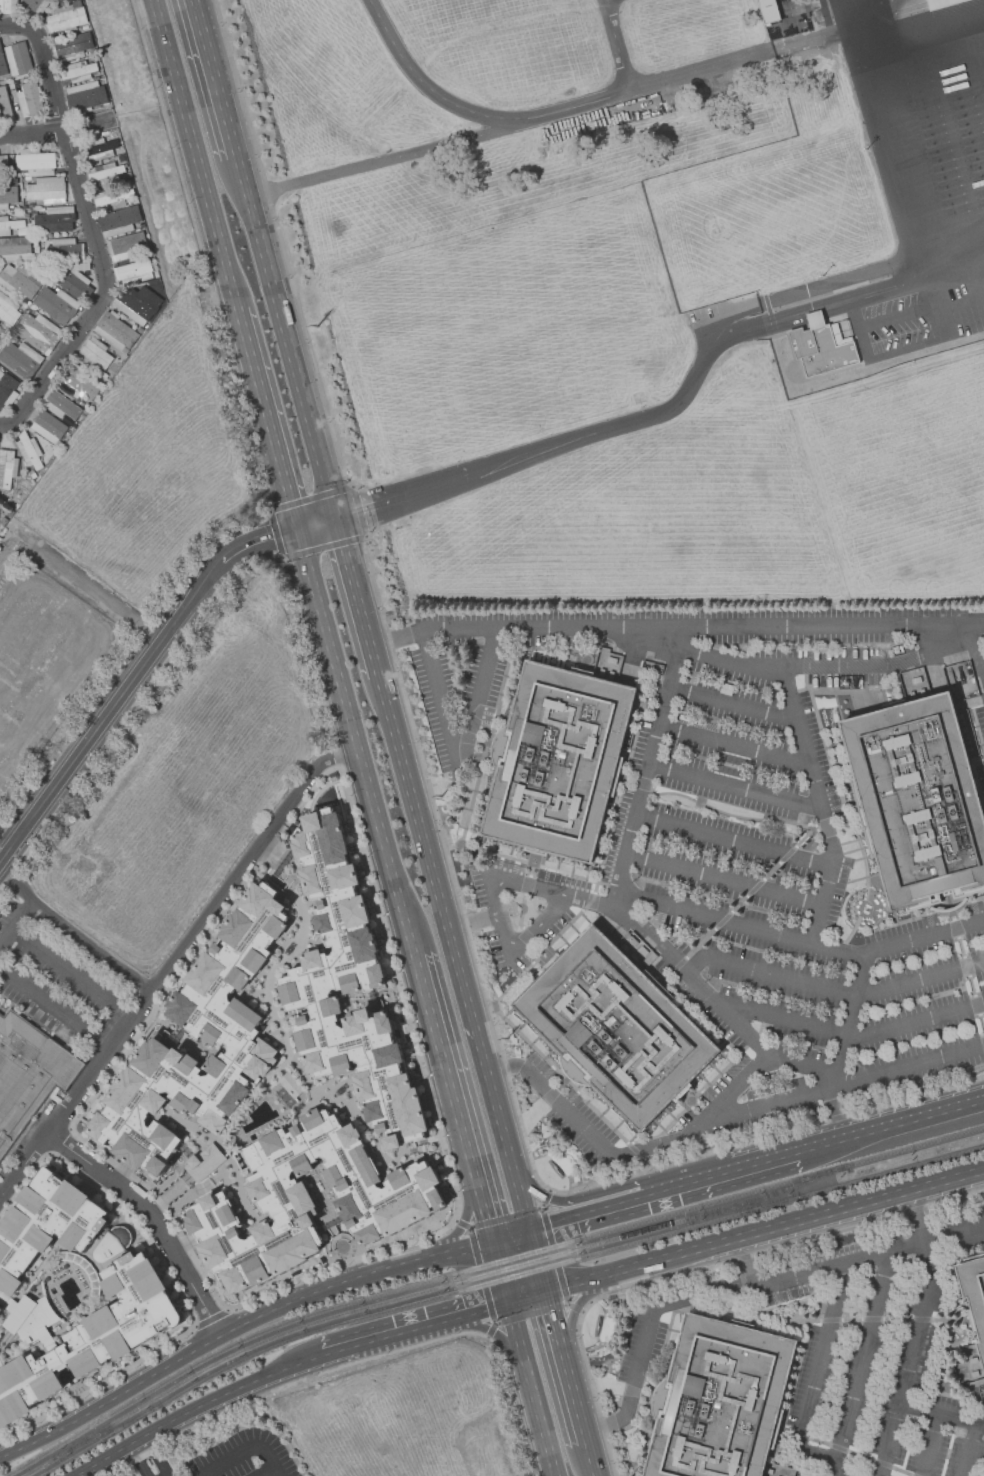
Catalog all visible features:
building: (943, 3)
building: (9, 5)
building: (36, 5)
building: (769, 10)
building: (66, 19)
road: (810, 40)
road: (617, 45)
building: (72, 46)
road: (922, 48)
building: (19, 58)
building: (3, 63)
road: (42, 63)
road: (975, 63)
road: (701, 70)
building: (79, 71)
road: (213, 78)
building: (86, 95)
building: (30, 99)
building: (5, 104)
road: (476, 113)
road: (875, 118)
road: (30, 130)
building: (101, 149)
road: (191, 153)
building: (3, 161)
building: (36, 162)
road: (376, 162)
building: (106, 173)
building: (47, 190)
building: (8, 193)
building: (112, 199)
building: (54, 219)
building: (119, 221)
building: (9, 225)
road: (947, 225)
building: (127, 246)
building: (16, 248)
building: (65, 249)
road: (916, 255)
building: (133, 272)
building: (75, 281)
building: (18, 282)
road: (103, 292)
road: (841, 297)
building: (57, 304)
building: (138, 304)
building: (8, 311)
building: (30, 311)
power tower: (320, 328)
building: (116, 331)
building: (39, 332)
road: (283, 337)
building: (820, 347)
building: (94, 354)
building: (21, 359)
building: (78, 383)
building: (7, 388)
building: (60, 404)
road: (265, 418)
building: (47, 426)
road: (564, 442)
building: (29, 450)
road: (257, 458)
building: (7, 468)
building: (33, 473)
building: (3, 520)
road: (314, 523)
traffic signals: (314, 524)
road: (254, 542)
road: (354, 596)
road: (675, 629)
road: (976, 653)
road: (982, 665)
road: (822, 667)
road: (476, 701)
road: (439, 702)
road: (732, 705)
road: (108, 711)
road: (354, 743)
road: (733, 747)
building: (558, 761)
road: (809, 768)
road: (647, 769)
road: (735, 789)
power tower: (441, 796)
building: (919, 800)
road: (436, 813)
road: (7, 837)
road: (733, 843)
parking lot: (727, 847)
road: (261, 863)
road: (723, 882)
road: (568, 898)
road: (822, 902)
road: (498, 917)
road: (381, 918)
road: (472, 923)
road: (16, 924)
road: (740, 927)
road: (537, 928)
road: (76, 932)
road: (925, 938)
road: (452, 954)
road: (171, 963)
road: (71, 974)
road: (768, 975)
road: (920, 980)
building: (347, 987)
road: (705, 993)
road: (54, 1011)
road: (851, 1016)
road: (785, 1022)
road: (915, 1025)
building: (616, 1028)
building: (221, 1029)
power tower: (505, 1038)
road: (808, 1070)
building: (28, 1073)
road: (445, 1073)
building: (292, 1085)
road: (841, 1087)
road: (239, 1115)
road: (922, 1116)
road: (836, 1140)
road: (435, 1141)
railway: (916, 1148)
road: (624, 1155)
building: (205, 1162)
road: (234, 1166)
railway: (892, 1172)
road: (703, 1179)
railway: (768, 1196)
road: (545, 1197)
road: (324, 1199)
road: (550, 1199)
building: (307, 1201)
road: (176, 1205)
railway: (744, 1208)
road: (155, 1216)
road: (484, 1216)
road: (504, 1217)
building: (41, 1222)
road: (562, 1223)
road: (461, 1224)
road: (463, 1224)
road: (764, 1231)
traffic signals: (529, 1234)
road: (509, 1239)
building: (116, 1240)
traffic signals: (490, 1244)
road: (343, 1253)
road: (553, 1255)
road: (433, 1259)
road: (537, 1262)
road: (498, 1274)
road: (481, 1276)
railway: (414, 1286)
railway: (476, 1287)
road: (743, 1289)
traffic signals: (545, 1290)
building: (974, 1296)
road: (526, 1297)
traffic signals: (507, 1304)
road: (577, 1304)
building: (1, 1306)
road: (574, 1307)
road: (479, 1311)
road: (530, 1313)
railway: (344, 1315)
road: (553, 1317)
road: (833, 1321)
road: (488, 1328)
road: (513, 1328)
road: (669, 1330)
road: (491, 1331)
building: (96, 1332)
road: (391, 1334)
road: (917, 1334)
parking lot: (850, 1355)
road: (184, 1357)
road: (360, 1361)
road: (859, 1364)
road: (814, 1379)
road: (573, 1394)
building: (719, 1400)
road: (202, 1406)
road: (537, 1414)
road: (937, 1415)
road: (980, 1423)
railway: (107, 1433)
railway: (104, 1441)
road: (930, 1446)
road: (969, 1450)
road: (843, 1452)
road: (158, 1455)
road: (231, 1456)
road: (590, 1459)
road: (138, 1461)
road: (270, 1464)
road: (274, 1475)

